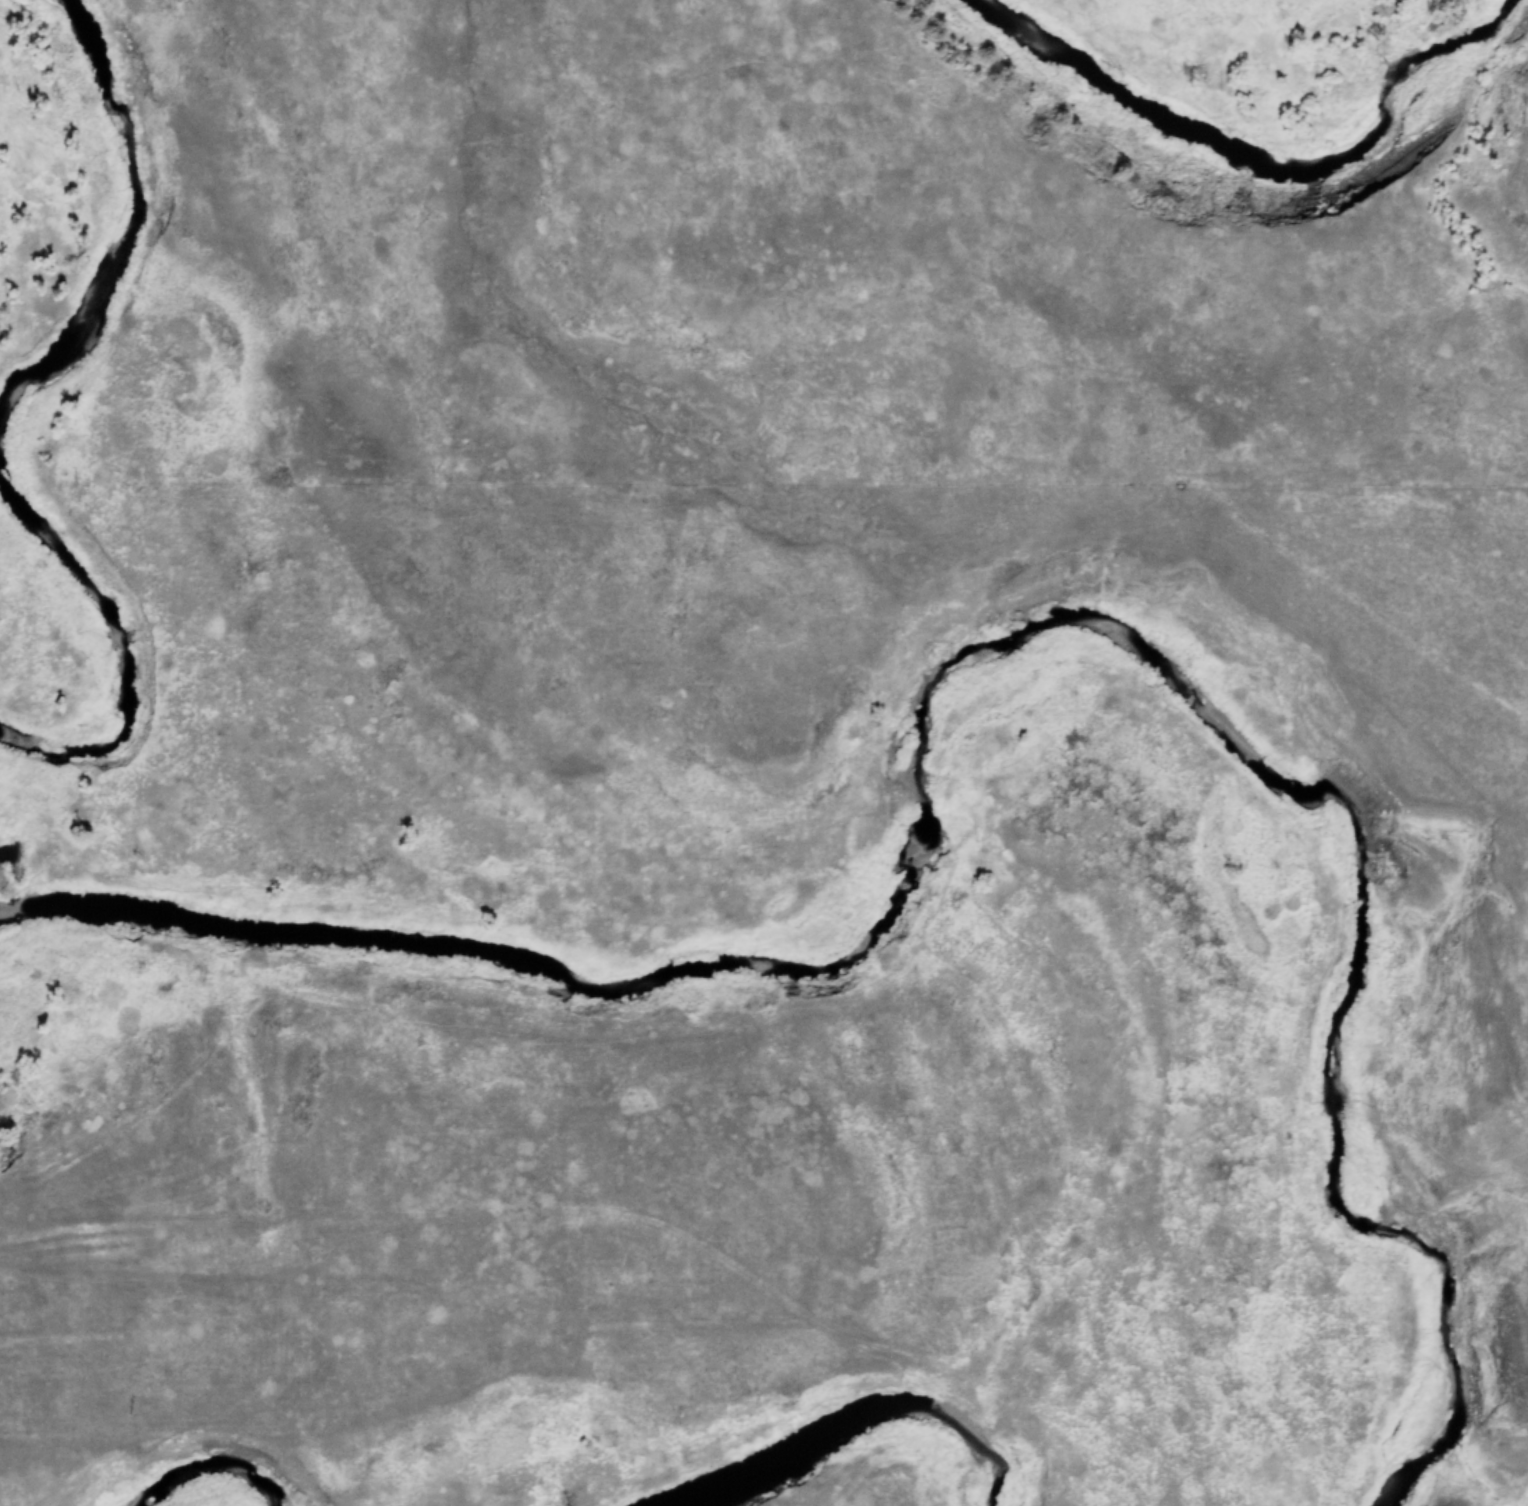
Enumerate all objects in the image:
road: (599, 1151)

